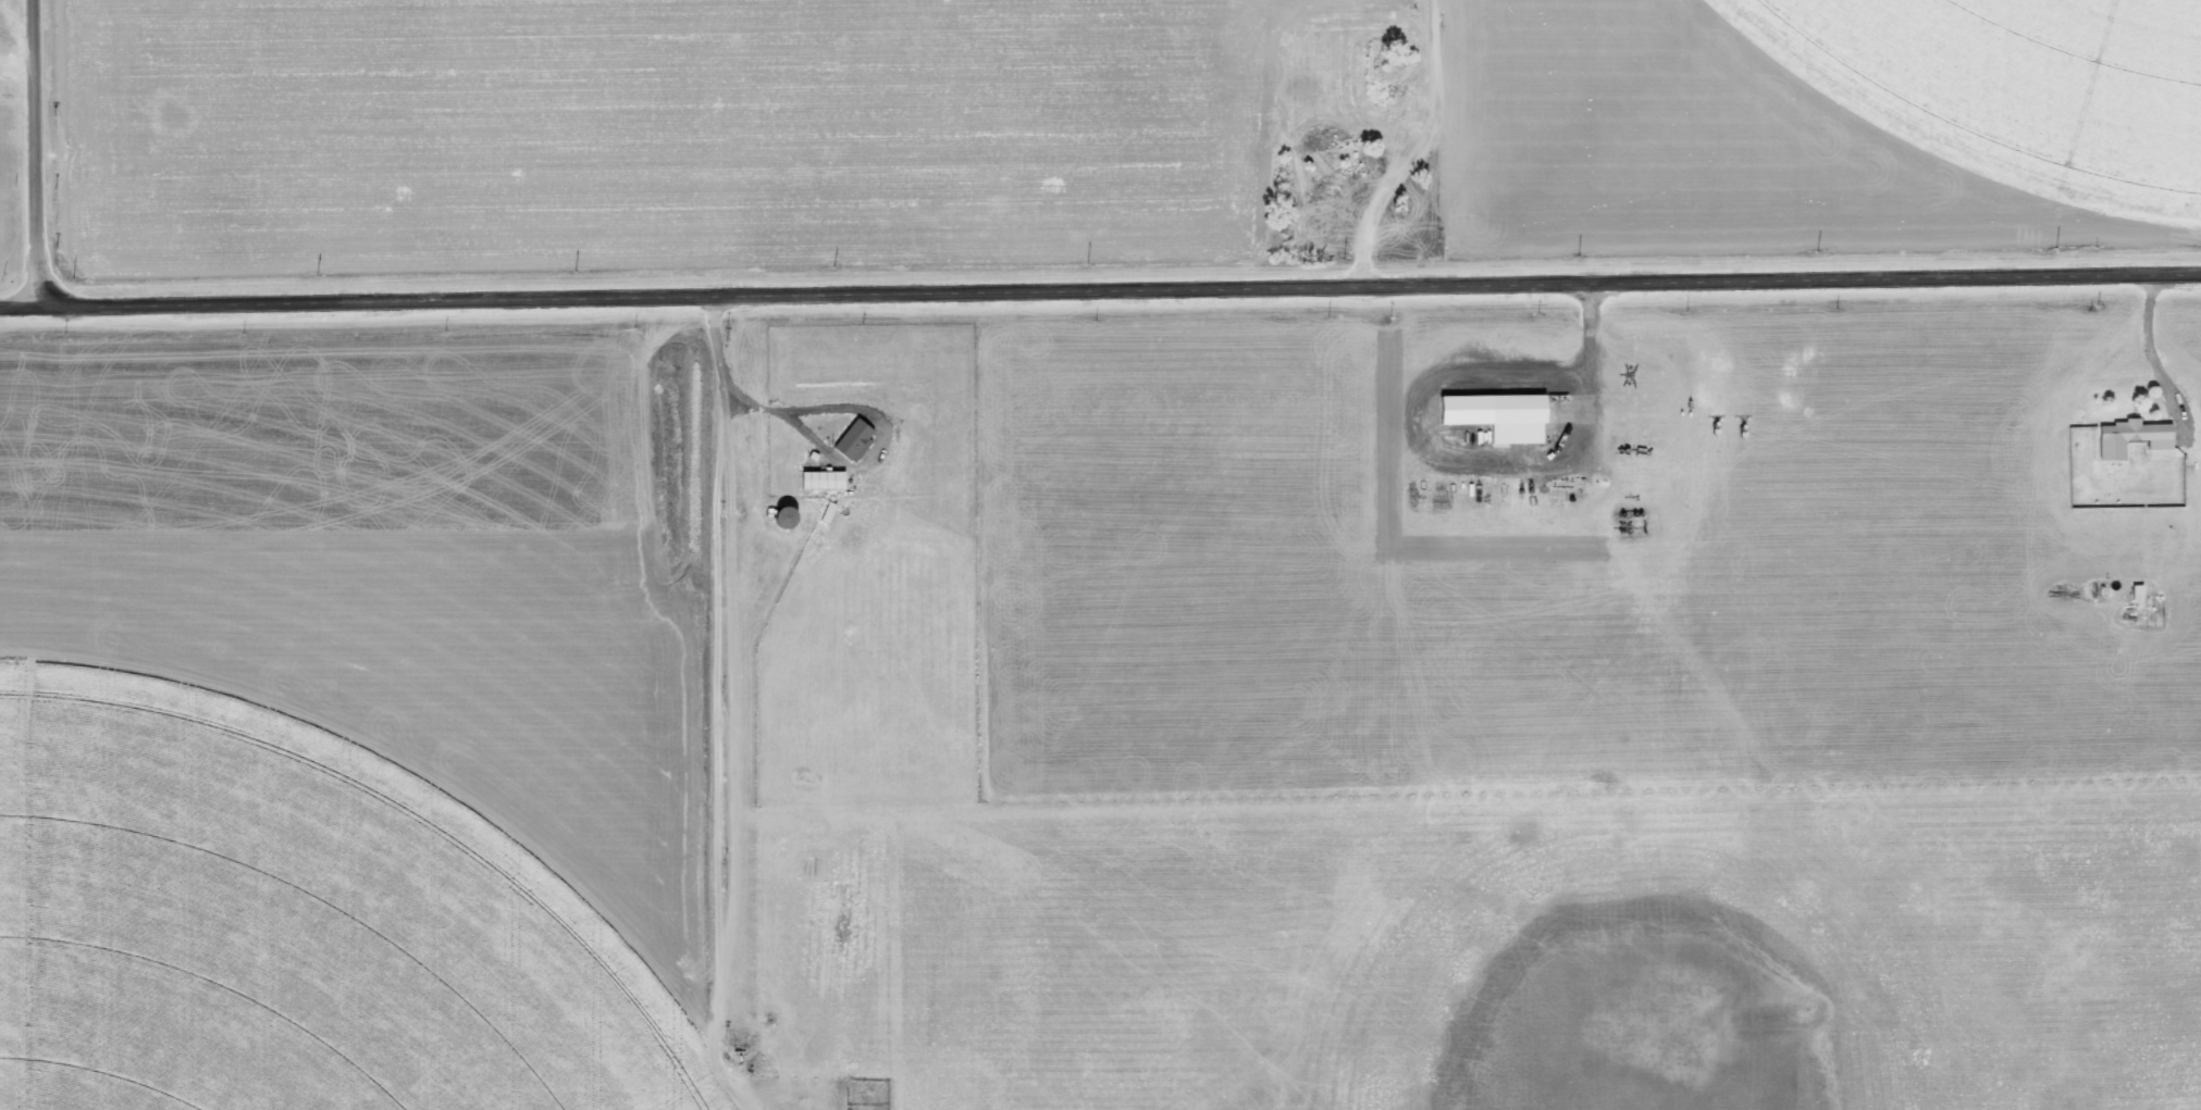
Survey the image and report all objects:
road: (1434, 147)
road: (34, 157)
road: (1100, 297)
building: (1504, 415)
building: (2137, 437)
building: (858, 440)
building: (826, 479)
road: (715, 704)

